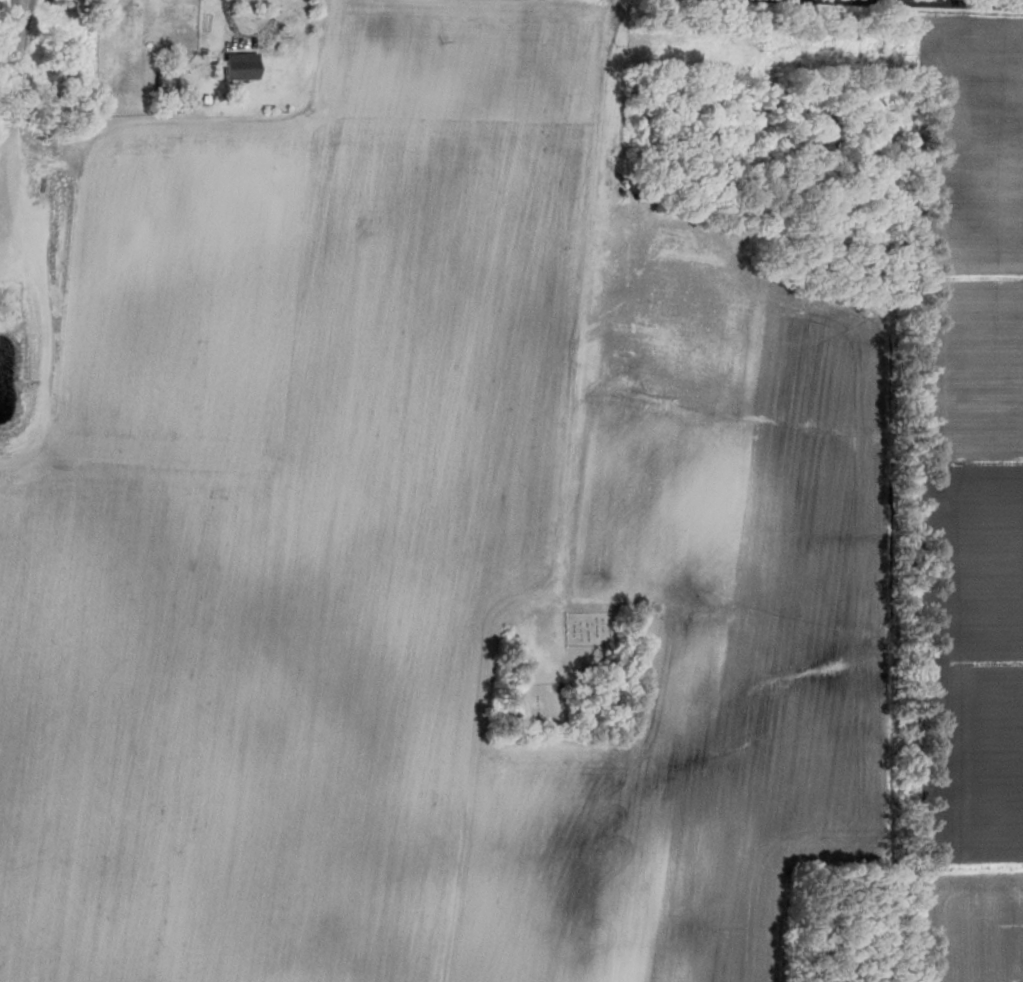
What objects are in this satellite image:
road: (912, 3)
building: (238, 66)
building: (160, 84)

